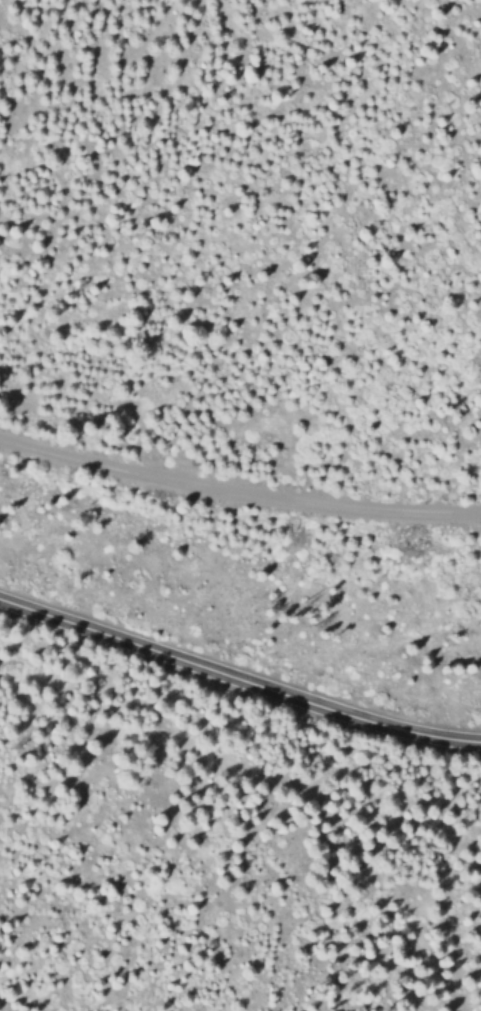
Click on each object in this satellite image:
road: (238, 490)
road: (238, 675)

